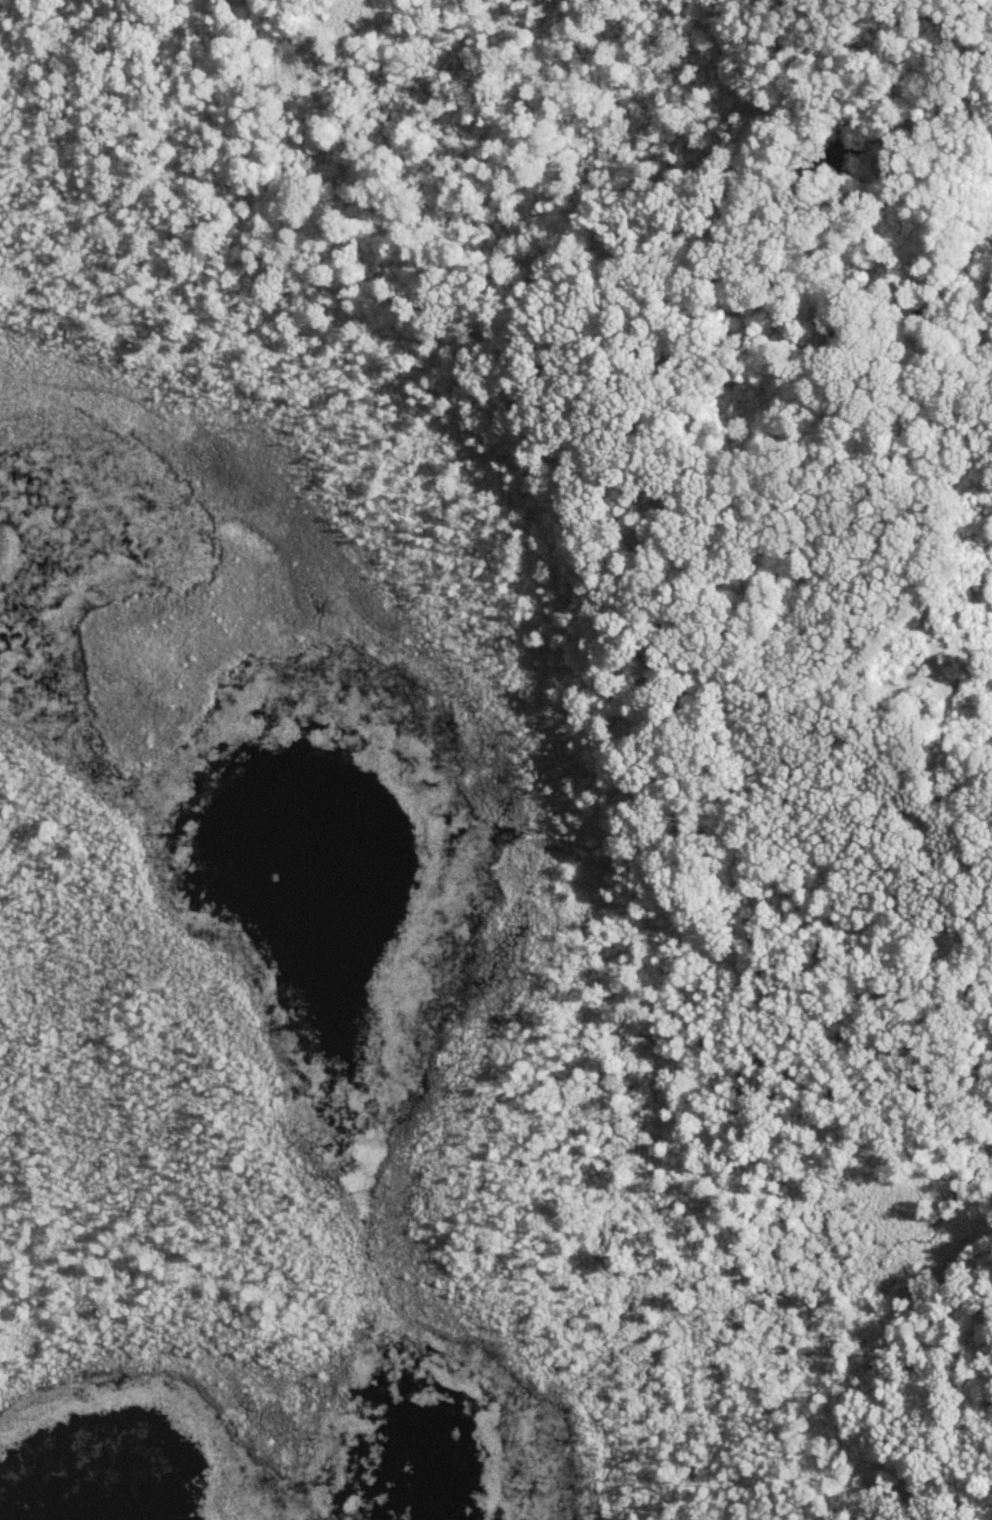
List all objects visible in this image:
road: (868, 656)

